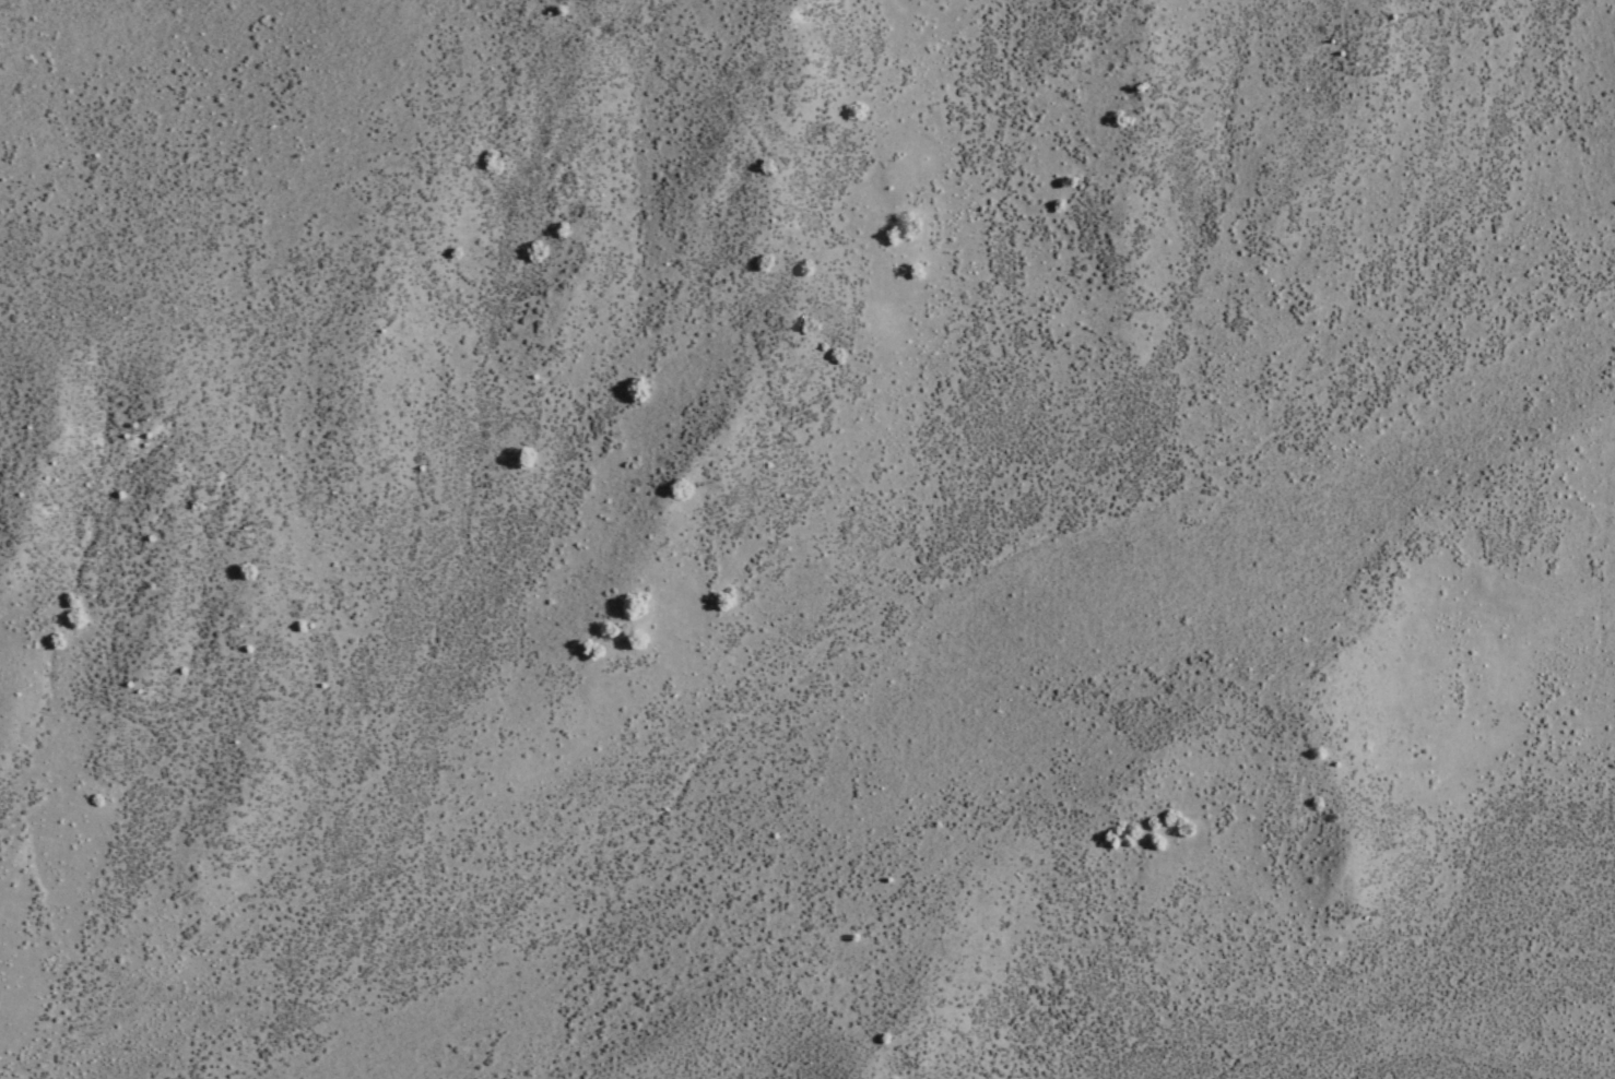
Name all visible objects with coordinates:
crop: (335, 950)

